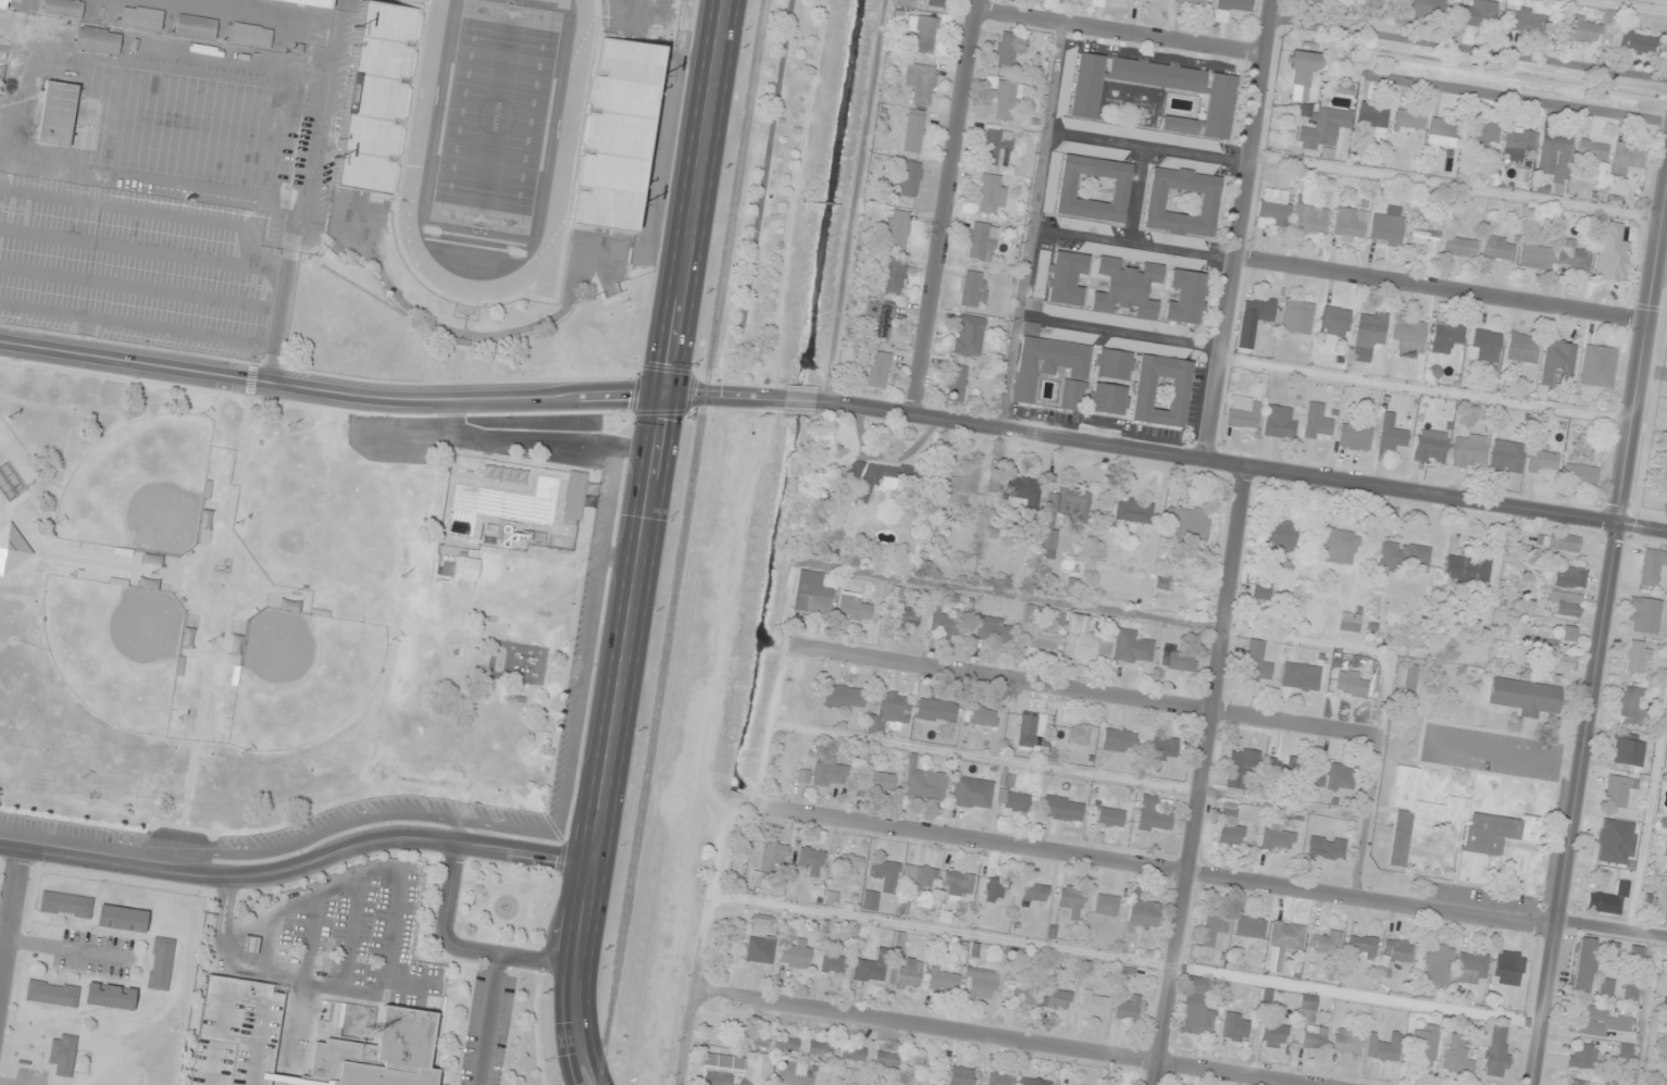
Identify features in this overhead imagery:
building: (1164, 0)
building: (1315, 1)
building: (315, 2)
building: (1096, 2)
building: (1191, 2)
building: (4, 3)
building: (935, 3)
building: (1370, 4)
building: (63, 8)
building: (1231, 8)
building: (1423, 8)
building: (1479, 13)
building: (158, 21)
building: (1529, 21)
building: (196, 25)
building: (1592, 28)
building: (929, 30)
road: (1121, 34)
building: (98, 40)
building: (1637, 42)
building: (1009, 49)
building: (1304, 67)
building: (921, 83)
building: (1340, 89)
building: (376, 95)
building: (1004, 98)
road: (1520, 98)
building: (1218, 104)
building: (58, 113)
park: (495, 115)
track: (569, 115)
building: (1372, 117)
building: (1409, 121)
park: (182, 124)
building: (615, 130)
road: (307, 132)
building: (1327, 132)
building: (1444, 132)
building: (913, 133)
building: (1483, 134)
building: (1520, 140)
building: (996, 146)
building: (1591, 153)
building: (1556, 155)
building: (1627, 160)
building: (908, 176)
building: (1092, 189)
building: (990, 194)
road: (760, 197)
building: (1181, 203)
road: (945, 205)
road: (142, 208)
building: (1273, 209)
building: (1310, 220)
building: (1349, 224)
building: (1388, 227)
road: (1241, 228)
building: (897, 229)
building: (1425, 238)
building: (981, 239)
building: (1460, 247)
building: (1500, 248)
building: (1612, 253)
building: (1535, 254)
building: (1575, 255)
road: (198, 258)
building: (893, 274)
building: (1067, 280)
road: (139, 288)
road: (1441, 288)
building: (972, 289)
building: (1125, 289)
building: (1186, 299)
building: (1258, 309)
building: (881, 316)
building: (1296, 316)
building: (1335, 321)
road: (137, 324)
building: (1368, 334)
building: (969, 335)
building: (1446, 335)
building: (1409, 336)
building: (1484, 346)
building: (1522, 348)
road: (1640, 349)
building: (1558, 364)
building: (1112, 366)
building: (1597, 366)
building: (878, 370)
building: (1052, 371)
building: (956, 383)
building: (1161, 391)
traffic signals: (669, 396)
road: (800, 398)
road: (390, 399)
building: (1108, 401)
building: (1246, 411)
park: (1, 419)
building: (1317, 422)
building: (1280, 423)
building: (1354, 434)
building: (1430, 447)
building: (1468, 450)
building: (1507, 457)
building: (1543, 460)
road: (1241, 464)
building: (1580, 474)
building: (878, 478)
park: (136, 483)
building: (957, 486)
building: (1020, 492)
building: (575, 495)
building: (1133, 510)
building: (1062, 511)
building: (1186, 519)
building: (1280, 536)
railway: (681, 541)
building: (1562, 541)
road: (645, 542)
building: (1340, 546)
building: (1404, 556)
building: (1652, 565)
building: (462, 568)
building: (1468, 570)
building: (1570, 576)
building: (1164, 582)
building: (1259, 590)
building: (812, 594)
building: (1567, 603)
building: (853, 607)
building: (904, 610)
park: (252, 615)
building: (1643, 615)
building: (1349, 622)
building: (944, 624)
building: (994, 629)
building: (1568, 633)
building: (1038, 637)
building: (1092, 638)
park: (111, 645)
building: (1132, 648)
building: (1639, 657)
building: (1179, 661)
building: (1563, 662)
building: (1256, 663)
park: (298, 674)
building: (1299, 676)
building: (1409, 681)
building: (1352, 685)
road: (1099, 694)
building: (1526, 696)
building: (845, 697)
building: (1631, 706)
building: (936, 710)
building: (890, 713)
building: (983, 716)
building: (1027, 724)
building: (1079, 734)
building: (1119, 739)
building: (1165, 748)
building: (1628, 750)
building: (1666, 762)
building: (1240, 766)
building: (1289, 770)
building: (830, 772)
road: (1202, 775)
building: (1335, 776)
building: (880, 782)
building: (925, 784)
building: (1618, 790)
building: (972, 793)
building: (1013, 801)
road: (1572, 805)
building: (1062, 809)
building: (1153, 814)
road: (1649, 815)
building: (1110, 816)
building: (1229, 825)
building: (1498, 831)
building: (1610, 836)
building: (1278, 837)
building: (1327, 847)
building: (1666, 850)
building: (773, 856)
building: (812, 861)
road: (298, 865)
building: (850, 865)
building: (886, 874)
road: (1197, 874)
building: (763, 880)
building: (918, 880)
building: (957, 884)
building: (996, 889)
building: (1035, 893)
road: (307, 898)
building: (870, 899)
building: (1609, 900)
building: (1072, 901)
building: (66, 903)
park: (500, 903)
building: (1106, 905)
building: (1143, 914)
building: (1666, 914)
building: (122, 919)
road: (11, 920)
building: (1249, 927)
road: (350, 933)
building: (1286, 935)
building: (1211, 936)
road: (310, 940)
building: (1326, 943)
road: (706, 944)
building: (249, 945)
building: (1361, 946)
road: (461, 948)
building: (760, 949)
building: (1612, 951)
road: (228, 953)
building: (797, 953)
building: (1394, 955)
building: (1634, 957)
road: (1125, 958)
building: (833, 961)
building: (160, 963)
building: (1438, 964)
building: (1583, 965)
building: (871, 966)
building: (905, 966)
building: (1470, 966)
building: (1508, 966)
building: (980, 978)
building: (942, 980)
building: (1605, 987)
building: (1629, 992)
building: (52, 993)
building: (1022, 994)
road: (370, 995)
building: (110, 996)
building: (1055, 998)
building: (1094, 1002)
building: (1128, 1008)
building: (1307, 1008)
building: (1197, 1009)
road: (1646, 1010)
road: (219, 1019)
road: (486, 1020)
building: (1600, 1021)
building: (1235, 1026)
road: (286, 1034)
building: (1273, 1035)
building: (1314, 1037)
building: (757, 1038)
road: (1002, 1038)
building: (1348, 1042)
building: (785, 1045)
building: (1423, 1045)
building: (1381, 1048)
building: (820, 1049)
building: (1497, 1051)
building: (1626, 1051)
building: (63, 1053)
building: (377, 1053)
building: (853, 1053)
building: (1457, 1056)
building: (1582, 1056)
building: (886, 1059)
building: (723, 1063)
building: (961, 1075)
building: (1000, 1078)
building: (1034, 1082)
building: (1575, 1083)
building: (1609, 1084)

